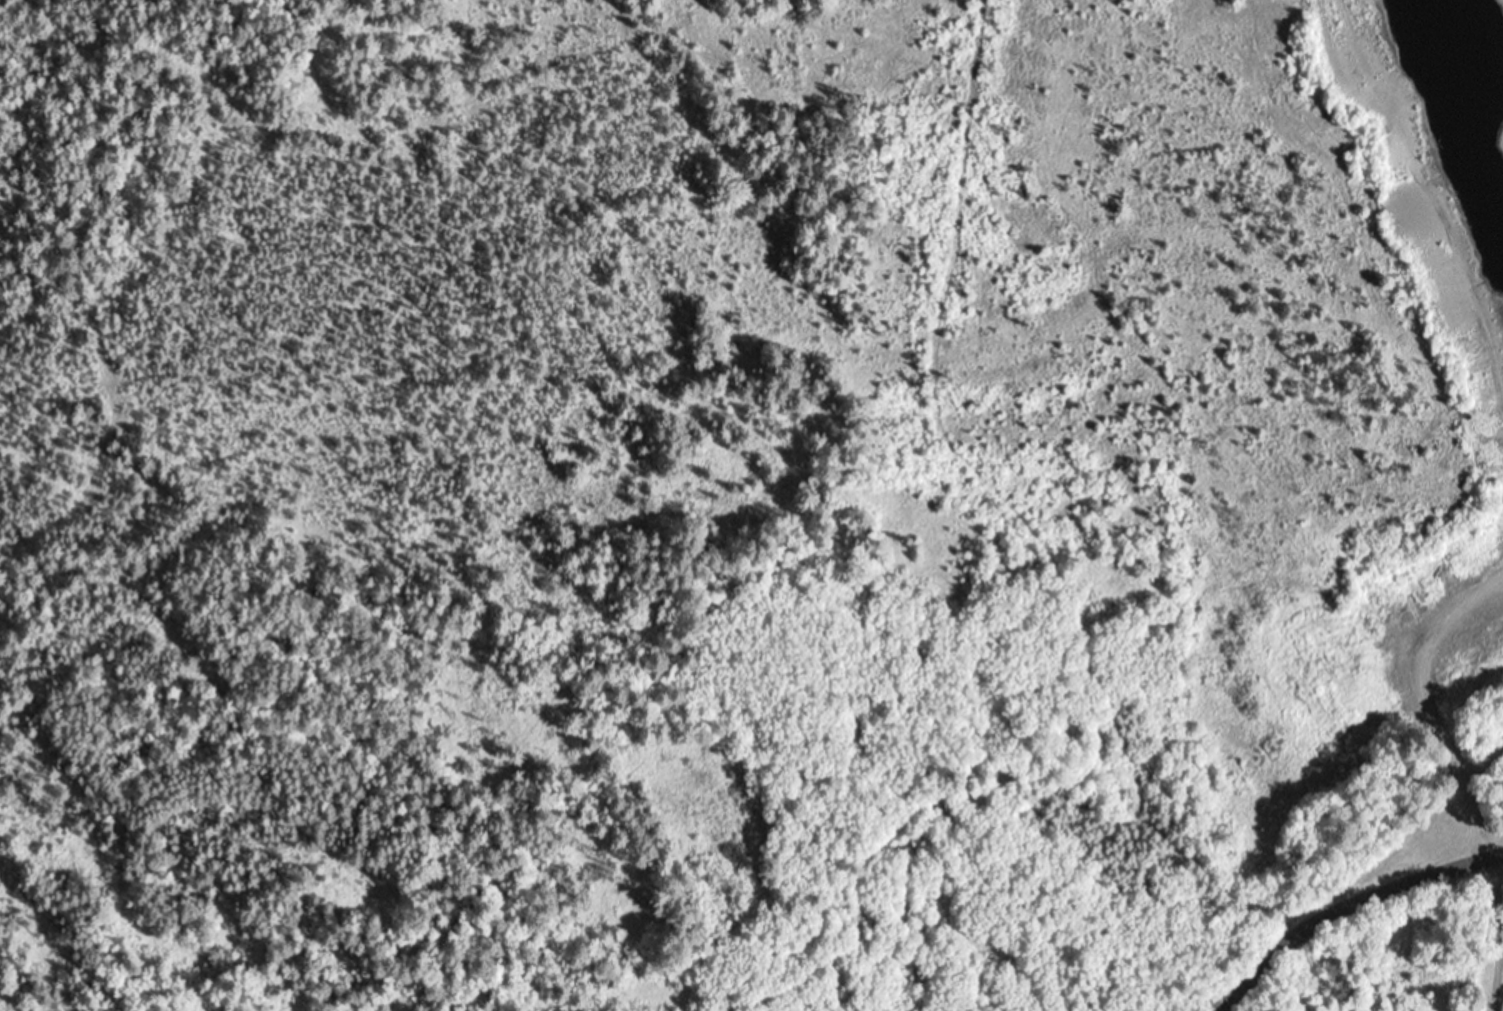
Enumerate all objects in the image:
road: (1346, 898)

